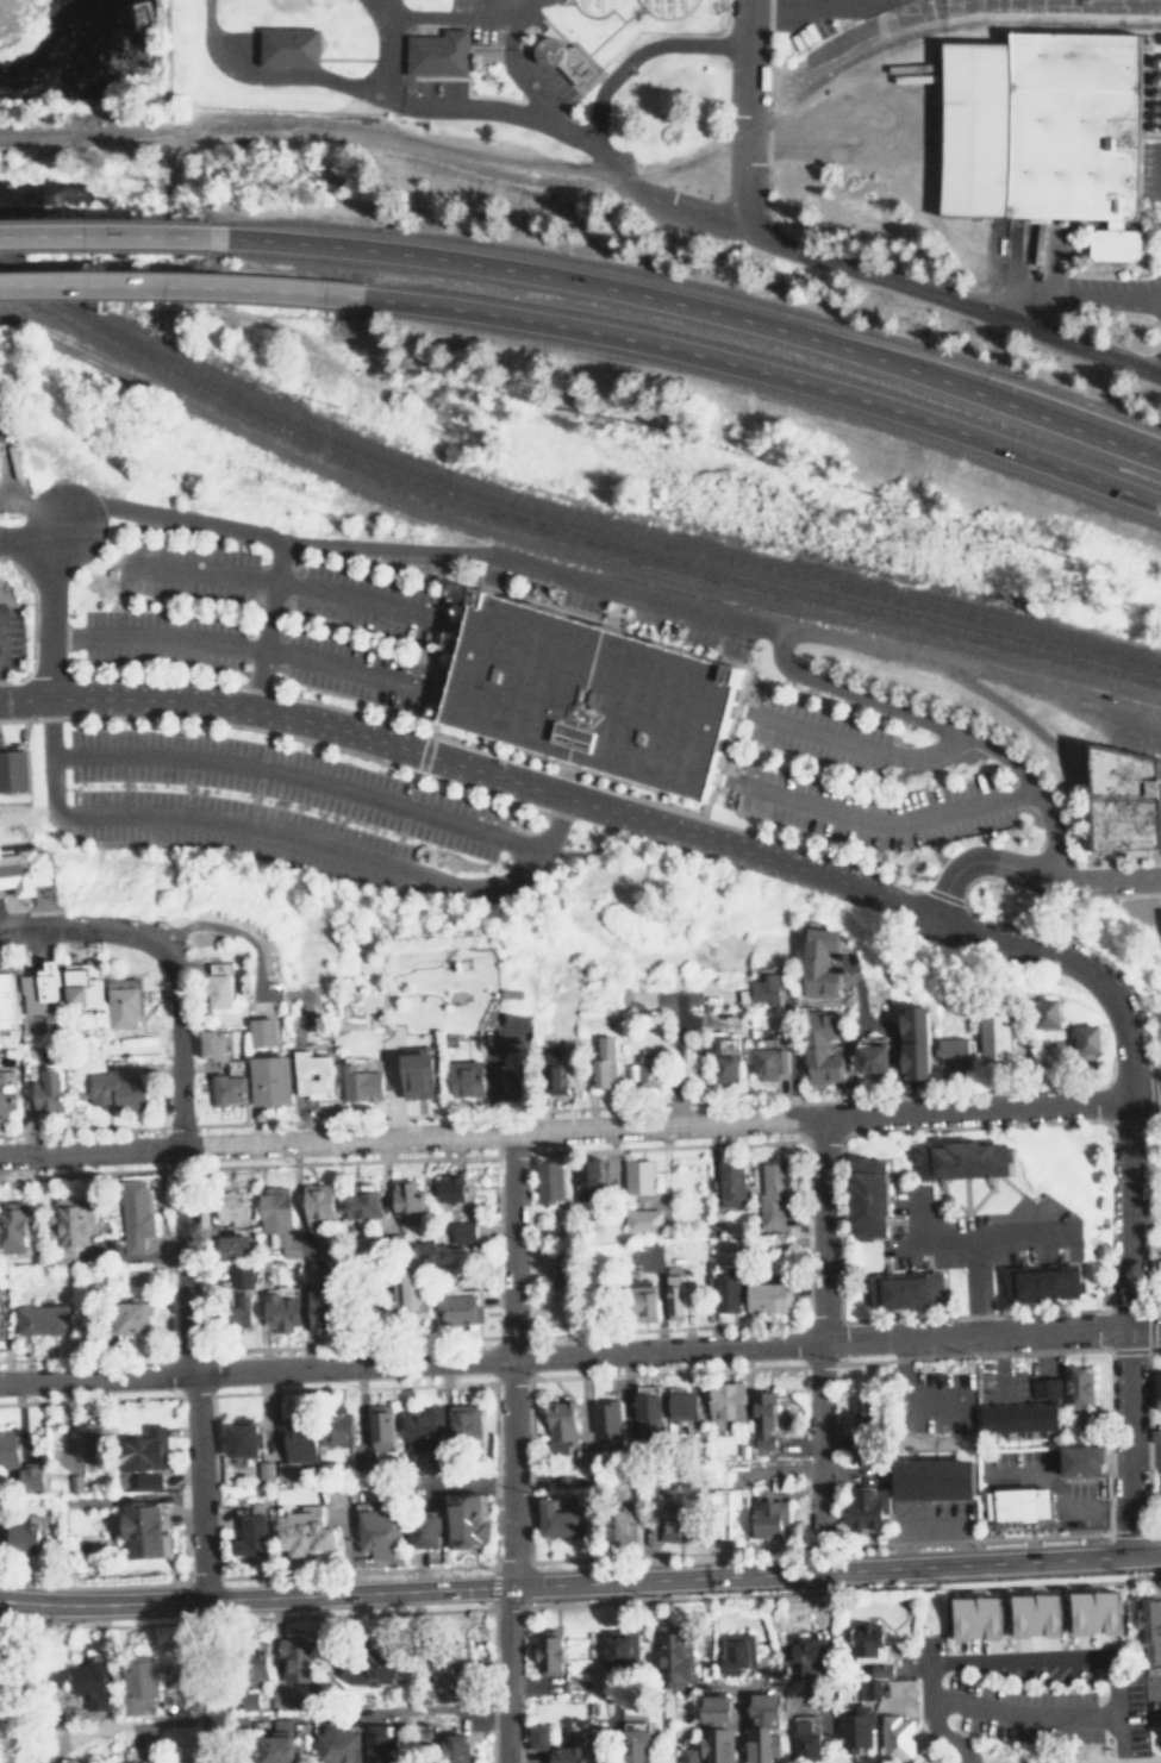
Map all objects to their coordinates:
road: (485, 7)
building: (589, 7)
storage tank: (589, 7)
building: (662, 7)
storage tank: (662, 7)
road: (374, 13)
road: (457, 15)
park: (17, 20)
building: (285, 48)
road: (383, 48)
building: (436, 52)
building: (564, 61)
road: (514, 67)
wastewater plant: (477, 69)
road: (267, 75)
parking lot: (437, 87)
road: (734, 108)
road: (488, 111)
road: (592, 120)
building: (1040, 126)
railway: (597, 158)
road: (114, 224)
road: (188, 287)
road: (948, 288)
road: (1093, 299)
road: (704, 305)
road: (1024, 305)
railway: (114, 362)
road: (774, 377)
railway: (561, 517)
railway: (562, 529)
road: (42, 539)
parking lot: (182, 569)
railway: (689, 573)
road: (282, 582)
road: (613, 587)
parking lot: (370, 601)
road: (43, 606)
road: (264, 618)
parking lot: (8, 633)
parking lot: (161, 637)
road: (237, 645)
parking lot: (355, 668)
building: (587, 694)
parking lot: (812, 727)
road: (866, 748)
building: (15, 767)
building: (4, 769)
road: (299, 779)
parking lot: (287, 781)
building: (1123, 802)
parking lot: (862, 805)
road: (620, 811)
road: (888, 821)
parking lot: (233, 830)
road: (279, 836)
building: (31, 864)
road: (1031, 870)
building: (1160, 924)
road: (90, 930)
building: (817, 958)
building: (82, 987)
building: (38, 988)
building: (214, 988)
building: (761, 988)
building: (7, 1000)
building: (123, 1001)
building: (1044, 1009)
building: (258, 1030)
building: (994, 1033)
parking lot: (1157, 1036)
building: (1085, 1037)
building: (913, 1038)
building: (208, 1040)
building: (819, 1046)
building: (950, 1051)
road: (174, 1056)
building: (768, 1056)
building: (869, 1056)
building: (722, 1057)
building: (603, 1061)
building: (648, 1069)
building: (553, 1070)
building: (628, 1070)
building: (411, 1073)
building: (463, 1076)
building: (267, 1077)
building: (513, 1077)
building: (358, 1080)
building: (227, 1083)
building: (306, 1083)
building: (119, 1086)
building: (48, 1092)
building: (6, 1096)
road: (1142, 1100)
road: (562, 1130)
building: (959, 1157)
building: (588, 1176)
building: (639, 1176)
building: (549, 1180)
building: (731, 1183)
building: (450, 1188)
building: (864, 1195)
building: (772, 1196)
building: (406, 1200)
building: (318, 1204)
building: (362, 1204)
building: (232, 1207)
building: (135, 1214)
road: (1124, 1214)
building: (643, 1220)
building: (282, 1224)
building: (70, 1225)
building: (13, 1227)
building: (463, 1231)
parking lot: (973, 1232)
road: (969, 1239)
building: (232, 1246)
road: (1135, 1248)
road: (180, 1263)
building: (242, 1276)
building: (1032, 1280)
road: (974, 1287)
building: (675, 1290)
building: (728, 1290)
building: (900, 1290)
building: (772, 1296)
building: (645, 1299)
building: (416, 1300)
building: (461, 1308)
building: (244, 1309)
building: (282, 1311)
building: (325, 1311)
building: (131, 1317)
building: (43, 1319)
building: (1, 1326)
road: (1142, 1327)
road: (818, 1342)
road: (561, 1356)
road: (508, 1359)
building: (1044, 1384)
building: (1076, 1387)
building: (1157, 1395)
building: (724, 1400)
building: (680, 1405)
building: (761, 1412)
building: (867, 1412)
building: (1016, 1415)
building: (644, 1417)
building: (603, 1421)
building: (557, 1423)
building: (379, 1426)
building: (462, 1426)
building: (336, 1427)
building: (418, 1427)
building: (1156, 1434)
building: (238, 1438)
building: (294, 1442)
road: (1124, 1442)
building: (85, 1443)
building: (139, 1446)
building: (7, 1448)
building: (1081, 1457)
building: (772, 1465)
building: (263, 1470)
building: (31, 1477)
building: (929, 1477)
building: (149, 1480)
road: (1056, 1487)
building: (729, 1498)
building: (1015, 1502)
building: (862, 1508)
building: (463, 1519)
building: (553, 1519)
building: (768, 1519)
building: (612, 1520)
building: (674, 1523)
building: (420, 1528)
building: (143, 1530)
building: (248, 1532)
building: (300, 1532)
building: (24, 1533)
building: (376, 1533)
road: (199, 1571)
road: (580, 1582)
building: (1109, 1606)
building: (1050, 1609)
building: (991, 1612)
building: (1149, 1631)
building: (869, 1640)
building: (622, 1645)
building: (551, 1652)
building: (738, 1652)
building: (675, 1653)
building: (806, 1655)
building: (298, 1659)
road: (1034, 1662)
building: (261, 1669)
building: (882, 1670)
road: (505, 1675)
building: (445, 1676)
building: (138, 1683)
building: (92, 1684)
building: (868, 1689)
building: (250, 1700)
parking lot: (1017, 1715)
road: (1019, 1717)
building: (766, 1727)
building: (857, 1728)
building: (718, 1730)
road: (937, 1732)
building: (418, 1736)
building: (541, 1737)
building: (898, 1737)
building: (806, 1740)
building: (281, 1742)
building: (637, 1742)
road: (1117, 1742)
building: (337, 1744)
building: (380, 1744)
building: (457, 1749)
building: (567, 1755)
building: (689, 1755)
building: (144, 1762)

